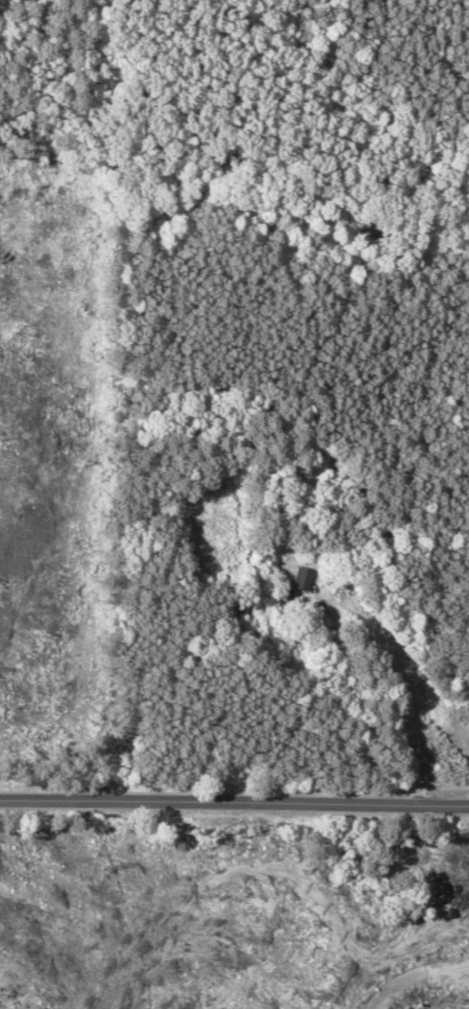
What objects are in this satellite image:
building: (304, 579)
road: (234, 797)

